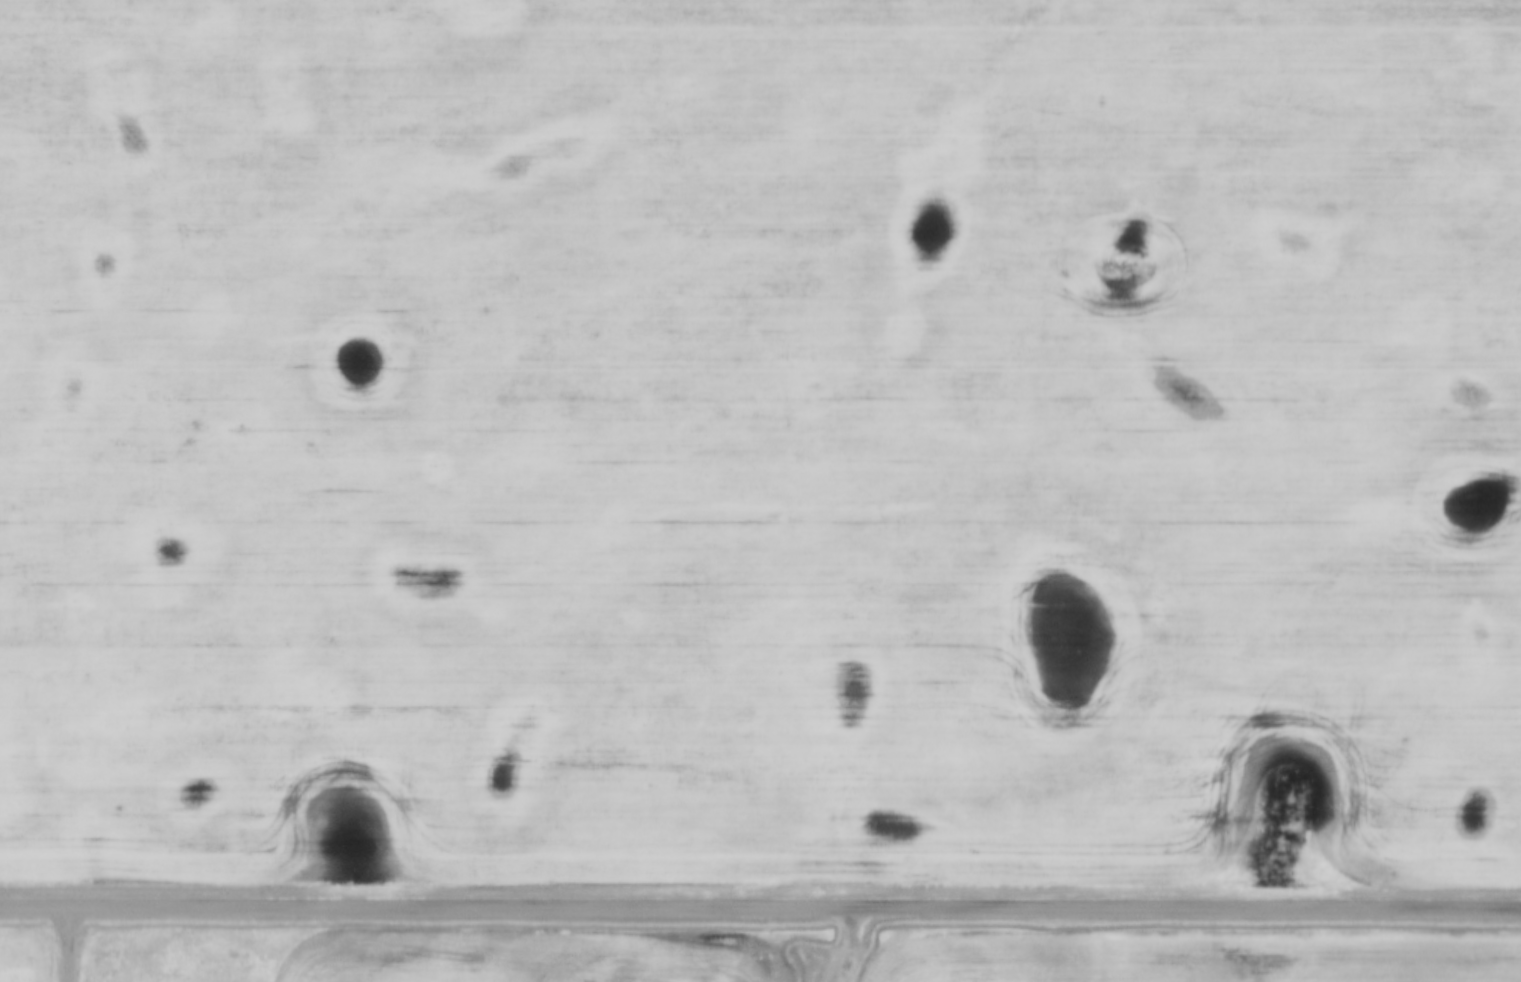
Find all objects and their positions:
road: (760, 900)
road: (850, 942)

